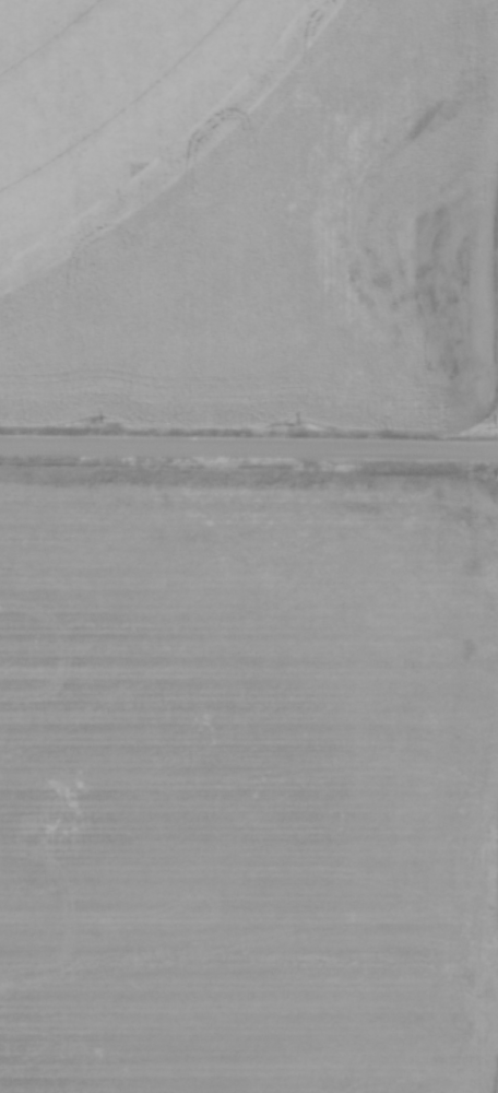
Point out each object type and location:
road: (249, 449)

